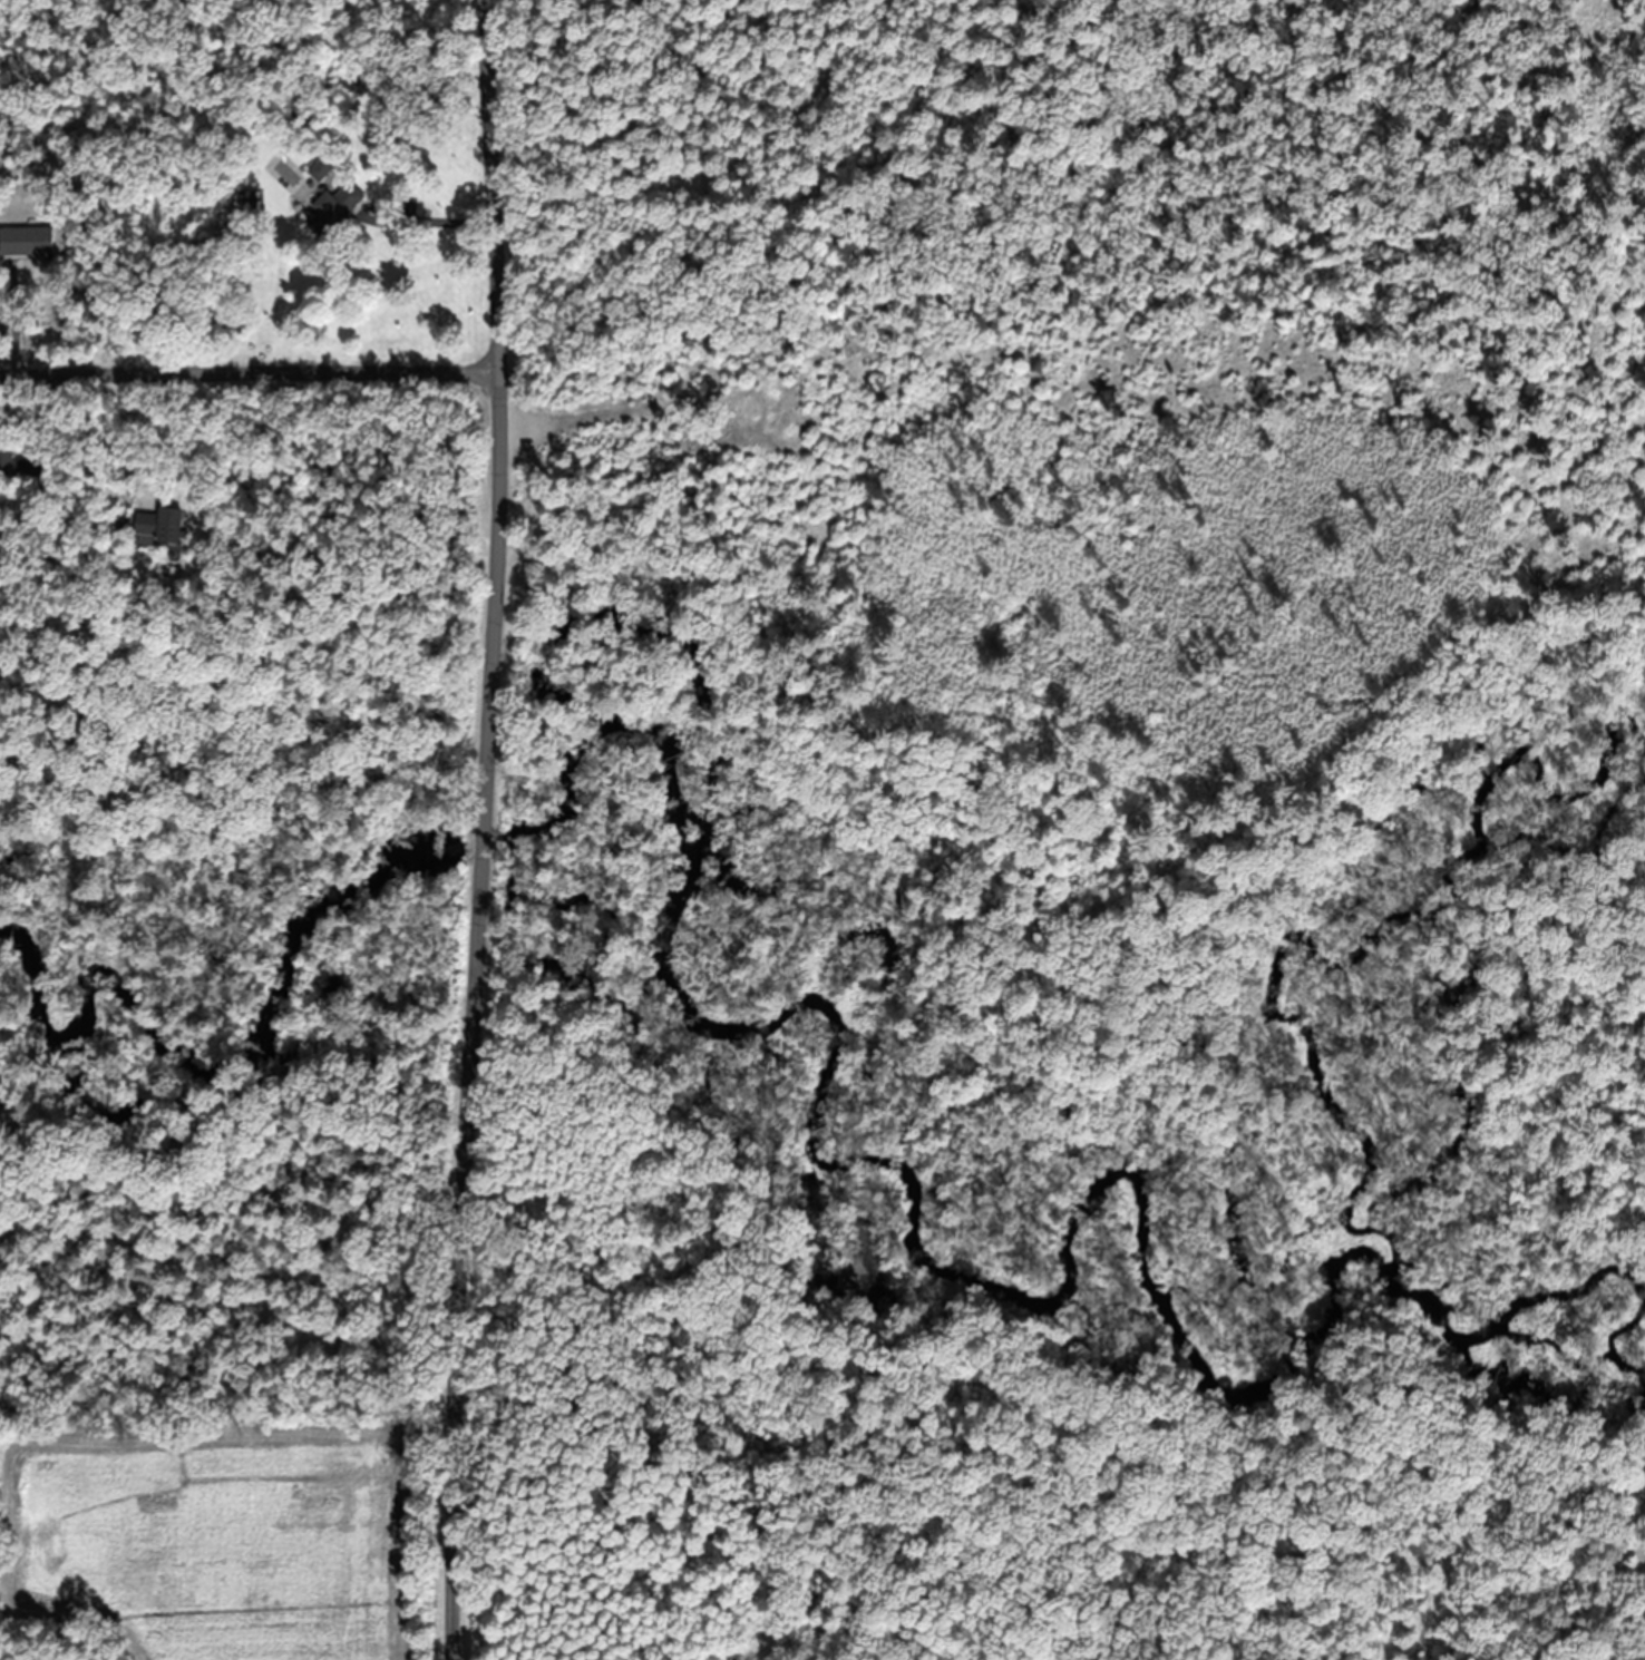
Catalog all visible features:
building: (322, 182)
road: (432, 218)
building: (340, 225)
building: (29, 254)
road: (250, 372)
road: (499, 408)
building: (9, 477)
building: (162, 540)
road: (484, 849)
road: (461, 1270)

